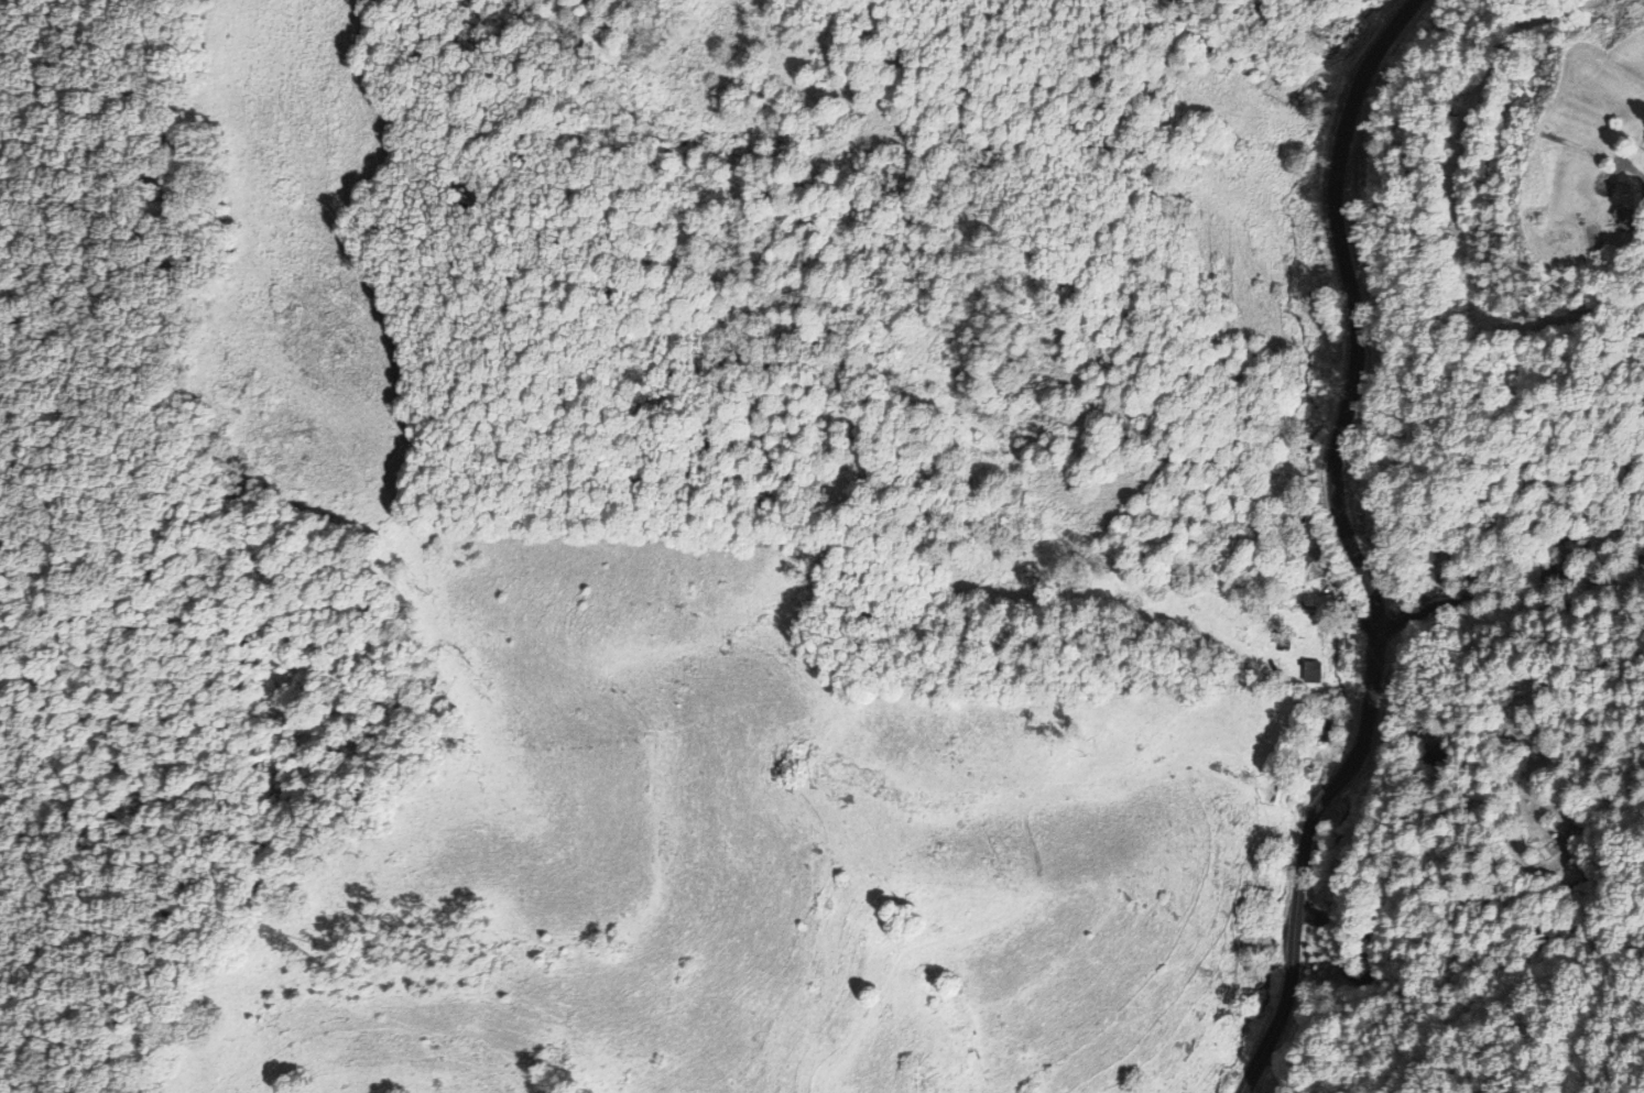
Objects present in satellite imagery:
building: (1623, 217)
road: (1339, 547)
building: (1311, 565)
building: (1309, 671)
building: (1317, 728)

